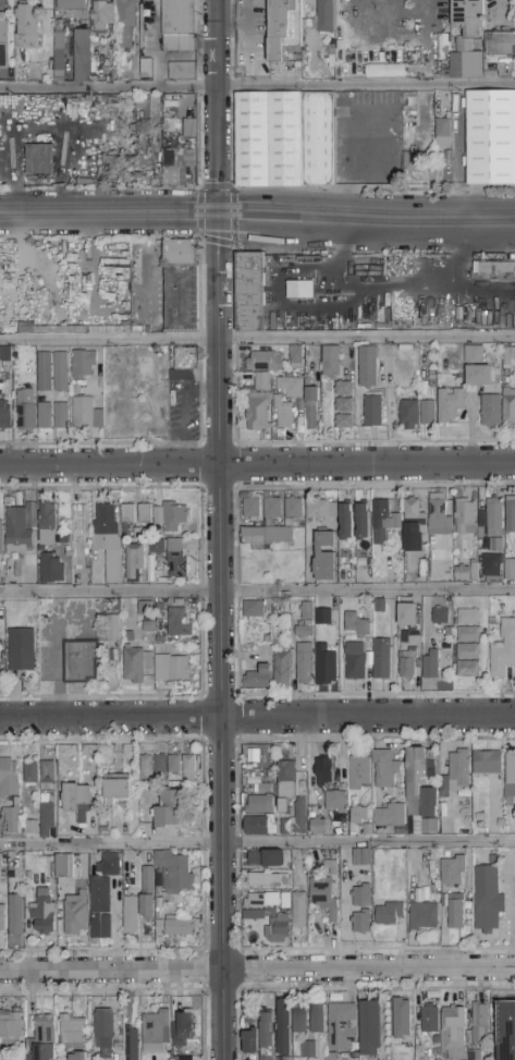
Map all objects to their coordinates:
building: (101, 0)
building: (72, 4)
road: (501, 12)
building: (468, 15)
building: (101, 16)
building: (326, 16)
building: (125, 23)
building: (179, 25)
building: (27, 27)
building: (284, 27)
road: (409, 42)
building: (501, 44)
building: (4, 45)
building: (464, 46)
building: (82, 56)
building: (59, 57)
building: (456, 65)
building: (146, 69)
building: (383, 69)
building: (180, 70)
road: (257, 86)
road: (218, 106)
building: (150, 109)
building: (189, 129)
building: (443, 134)
building: (491, 138)
building: (268, 139)
building: (319, 139)
building: (41, 156)
building: (414, 161)
building: (180, 168)
railway: (257, 209)
road: (109, 212)
traffic signals: (218, 212)
road: (366, 217)
railway: (257, 218)
railway: (257, 235)
building: (494, 269)
building: (181, 287)
building: (301, 290)
building: (250, 292)
building: (498, 303)
building: (478, 320)
road: (257, 340)
building: (296, 356)
building: (507, 357)
building: (186, 358)
building: (265, 362)
building: (331, 362)
building: (84, 364)
building: (144, 366)
building: (368, 367)
building: (476, 367)
building: (5, 369)
building: (45, 371)
building: (61, 373)
building: (262, 382)
building: (291, 387)
building: (343, 388)
building: (343, 405)
building: (449, 405)
building: (311, 406)
building: (508, 406)
building: (26, 410)
building: (491, 411)
building: (85, 412)
road: (182, 412)
building: (373, 412)
building: (428, 412)
building: (259, 413)
building: (282, 413)
building: (409, 414)
building: (4, 416)
building: (45, 416)
building: (61, 416)
building: (343, 422)
road: (257, 465)
building: (250, 505)
building: (272, 508)
building: (294, 508)
building: (321, 510)
building: (127, 514)
building: (145, 514)
building: (439, 514)
building: (511, 514)
building: (170, 515)
building: (464, 517)
building: (383, 521)
building: (345, 522)
building: (363, 522)
building: (412, 522)
building: (491, 524)
building: (47, 525)
building: (17, 528)
building: (78, 528)
building: (139, 534)
building: (267, 536)
building: (1, 538)
building: (432, 540)
building: (155, 545)
building: (106, 546)
building: (20, 549)
building: (324, 557)
building: (175, 558)
building: (134, 562)
building: (490, 564)
building: (53, 569)
building: (510, 570)
building: (467, 572)
road: (257, 592)
building: (380, 606)
building: (254, 609)
building: (294, 611)
building: (306, 611)
building: (146, 614)
building: (321, 616)
building: (407, 616)
building: (440, 617)
building: (469, 617)
building: (179, 623)
building: (356, 624)
building: (112, 629)
building: (305, 630)
building: (468, 634)
road: (221, 635)
building: (415, 641)
building: (21, 649)
building: (503, 650)
building: (466, 651)
building: (282, 658)
building: (381, 659)
building: (81, 661)
building: (355, 661)
building: (136, 663)
building: (304, 663)
building: (323, 663)
building: (407, 663)
building: (429, 665)
building: (172, 668)
building: (468, 669)
building: (1, 672)
building: (258, 679)
road: (257, 717)
building: (51, 753)
building: (127, 755)
building: (487, 763)
building: (160, 764)
building: (175, 765)
building: (147, 768)
building: (385, 768)
building: (188, 769)
building: (459, 770)
building: (32, 772)
building: (48, 772)
building: (323, 772)
building: (359, 773)
building: (9, 778)
building: (510, 780)
building: (286, 784)
building: (118, 788)
building: (263, 788)
building: (444, 788)
building: (421, 791)
building: (77, 801)
building: (336, 802)
building: (259, 804)
building: (170, 808)
building: (47, 814)
building: (358, 815)
building: (390, 816)
building: (12, 817)
building: (295, 820)
building: (258, 826)
building: (32, 827)
building: (317, 827)
building: (103, 829)
road: (257, 844)
building: (361, 857)
building: (266, 860)
building: (109, 865)
building: (65, 866)
building: (331, 866)
building: (175, 870)
building: (452, 872)
building: (265, 880)
building: (147, 893)
building: (323, 897)
building: (363, 897)
building: (487, 899)
building: (269, 900)
building: (100, 909)
building: (454, 910)
building: (42, 911)
building: (298, 911)
building: (271, 913)
building: (16, 914)
building: (390, 914)
building: (131, 915)
building: (76, 916)
building: (422, 916)
building: (2, 918)
building: (363, 922)
building: (173, 927)
building: (280, 927)
road: (257, 971)
building: (10, 1001)
building: (252, 1011)
building: (317, 1019)
building: (402, 1019)
building: (429, 1019)
building: (299, 1020)
building: (479, 1024)
building: (341, 1026)
building: (11, 1027)
building: (283, 1027)
building: (72, 1029)
building: (183, 1029)
building: (369, 1029)
building: (505, 1031)
building: (105, 1032)
building: (156, 1032)
building: (453, 1033)
building: (267, 1036)
building: (46, 1037)
building: (249, 1041)
building: (132, 1044)
building: (308, 1049)
building: (429, 1055)
building: (77, 1056)
building: (29, 1057)
building: (473, 1057)
building: (290, 1059)

